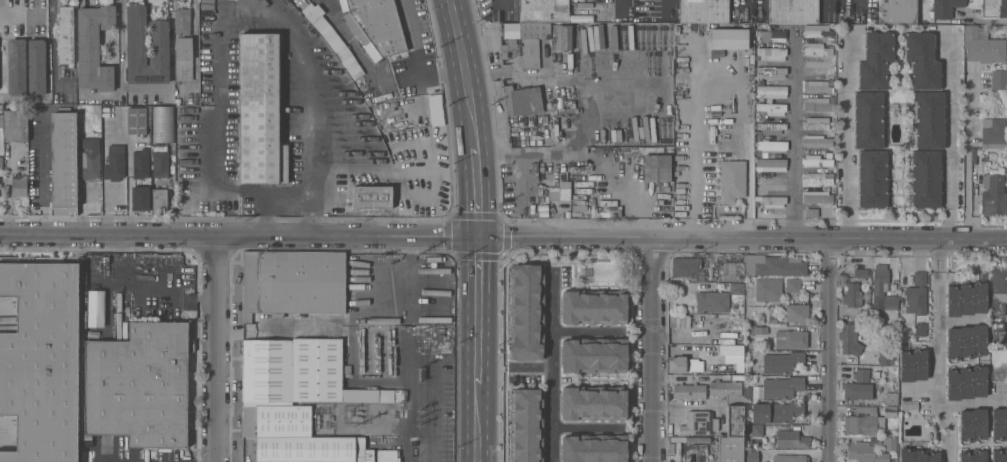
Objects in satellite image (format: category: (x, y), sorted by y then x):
building: (341, 5)
building: (944, 8)
building: (1003, 9)
building: (543, 10)
building: (704, 11)
building: (793, 11)
road: (4, 12)
building: (897, 12)
road: (984, 20)
building: (182, 22)
building: (378, 24)
building: (817, 30)
building: (65, 35)
building: (773, 35)
road: (414, 37)
building: (562, 37)
building: (728, 38)
building: (525, 42)
building: (982, 45)
building: (94, 47)
road: (354, 47)
building: (146, 48)
road: (122, 49)
building: (814, 49)
road: (53, 50)
building: (772, 53)
building: (183, 58)
building: (876, 60)
building: (922, 60)
building: (16, 67)
building: (36, 67)
building: (771, 72)
road: (431, 73)
road: (467, 74)
building: (748, 78)
building: (999, 79)
building: (709, 80)
building: (818, 87)
building: (772, 91)
building: (522, 100)
building: (818, 104)
building: (771, 108)
road: (309, 109)
building: (435, 110)
building: (260, 111)
building: (869, 120)
building: (929, 120)
building: (136, 121)
building: (816, 123)
building: (163, 124)
building: (15, 125)
building: (564, 126)
building: (771, 127)
building: (735, 132)
building: (993, 133)
road: (949, 138)
road: (792, 139)
road: (846, 139)
building: (1, 140)
road: (747, 140)
building: (818, 141)
building: (770, 146)
road: (211, 150)
road: (970, 153)
building: (160, 160)
building: (89, 161)
building: (815, 161)
building: (63, 163)
building: (114, 163)
building: (140, 163)
building: (771, 165)
building: (656, 167)
building: (690, 169)
building: (817, 179)
building: (873, 179)
building: (925, 179)
building: (18, 185)
building: (559, 192)
road: (477, 194)
building: (995, 196)
building: (140, 197)
building: (372, 197)
building: (817, 197)
building: (159, 201)
building: (773, 201)
building: (812, 213)
traffic signals: (479, 238)
road: (503, 238)
building: (152, 262)
building: (684, 266)
building: (780, 266)
building: (732, 270)
building: (860, 273)
road: (406, 274)
building: (912, 278)
building: (329, 282)
building: (277, 283)
building: (793, 285)
building: (768, 289)
building: (886, 290)
building: (852, 296)
building: (720, 297)
building: (966, 299)
building: (915, 300)
building: (998, 303)
building: (593, 308)
road: (478, 311)
building: (796, 312)
building: (524, 313)
building: (680, 317)
building: (773, 320)
building: (688, 323)
building: (679, 324)
building: (302, 325)
building: (327, 326)
building: (920, 329)
building: (759, 330)
building: (791, 339)
building: (849, 339)
building: (708, 342)
building: (966, 342)
road: (218, 348)
road: (651, 351)
road: (836, 351)
road: (933, 352)
building: (592, 356)
building: (733, 356)
building: (885, 358)
building: (41, 360)
building: (782, 362)
building: (683, 364)
building: (912, 364)
road: (532, 367)
road: (555, 367)
building: (302, 369)
building: (861, 375)
building: (337, 376)
building: (737, 377)
building: (966, 382)
building: (139, 385)
building: (781, 386)
building: (892, 390)
building: (688, 391)
building: (857, 391)
road: (916, 392)
building: (748, 394)
building: (593, 404)
road: (973, 404)
building: (730, 405)
building: (909, 406)
building: (283, 411)
building: (776, 411)
building: (890, 411)
building: (861, 421)
road: (477, 423)
building: (696, 423)
building: (972, 424)
building: (999, 424)
building: (523, 425)
building: (778, 435)
building: (690, 439)
building: (82, 443)
building: (889, 443)
building: (594, 448)
building: (730, 449)
road: (393, 453)
building: (865, 453)
building: (750, 455)
building: (918, 455)
building: (999, 455)
building: (385, 456)
building: (973, 456)
building: (790, 458)

